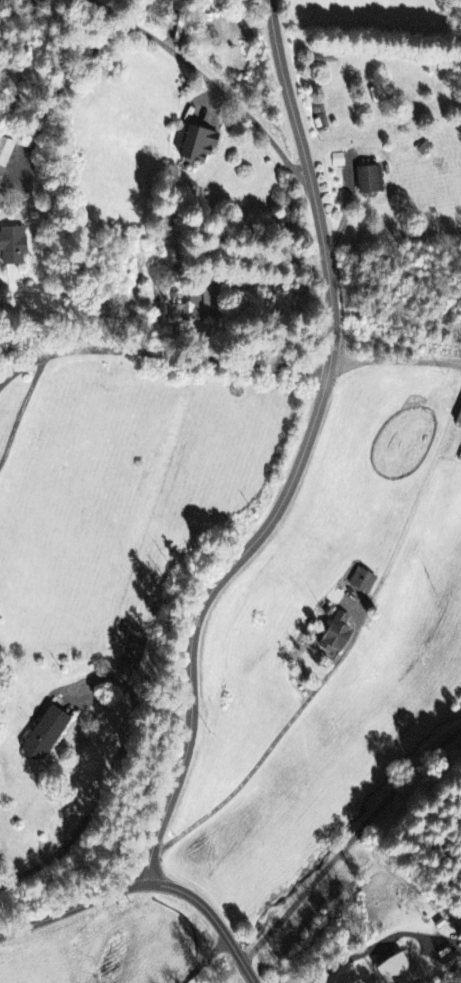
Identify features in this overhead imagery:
building: (171, 1)
building: (203, 146)
building: (4, 157)
building: (373, 181)
building: (14, 247)
building: (200, 307)
road: (160, 354)
road: (396, 359)
road: (23, 407)
building: (460, 426)
road: (301, 459)
building: (360, 582)
building: (333, 634)
building: (131, 654)
building: (40, 735)
road: (347, 843)
road: (147, 885)
building: (391, 970)
road: (238, 975)

